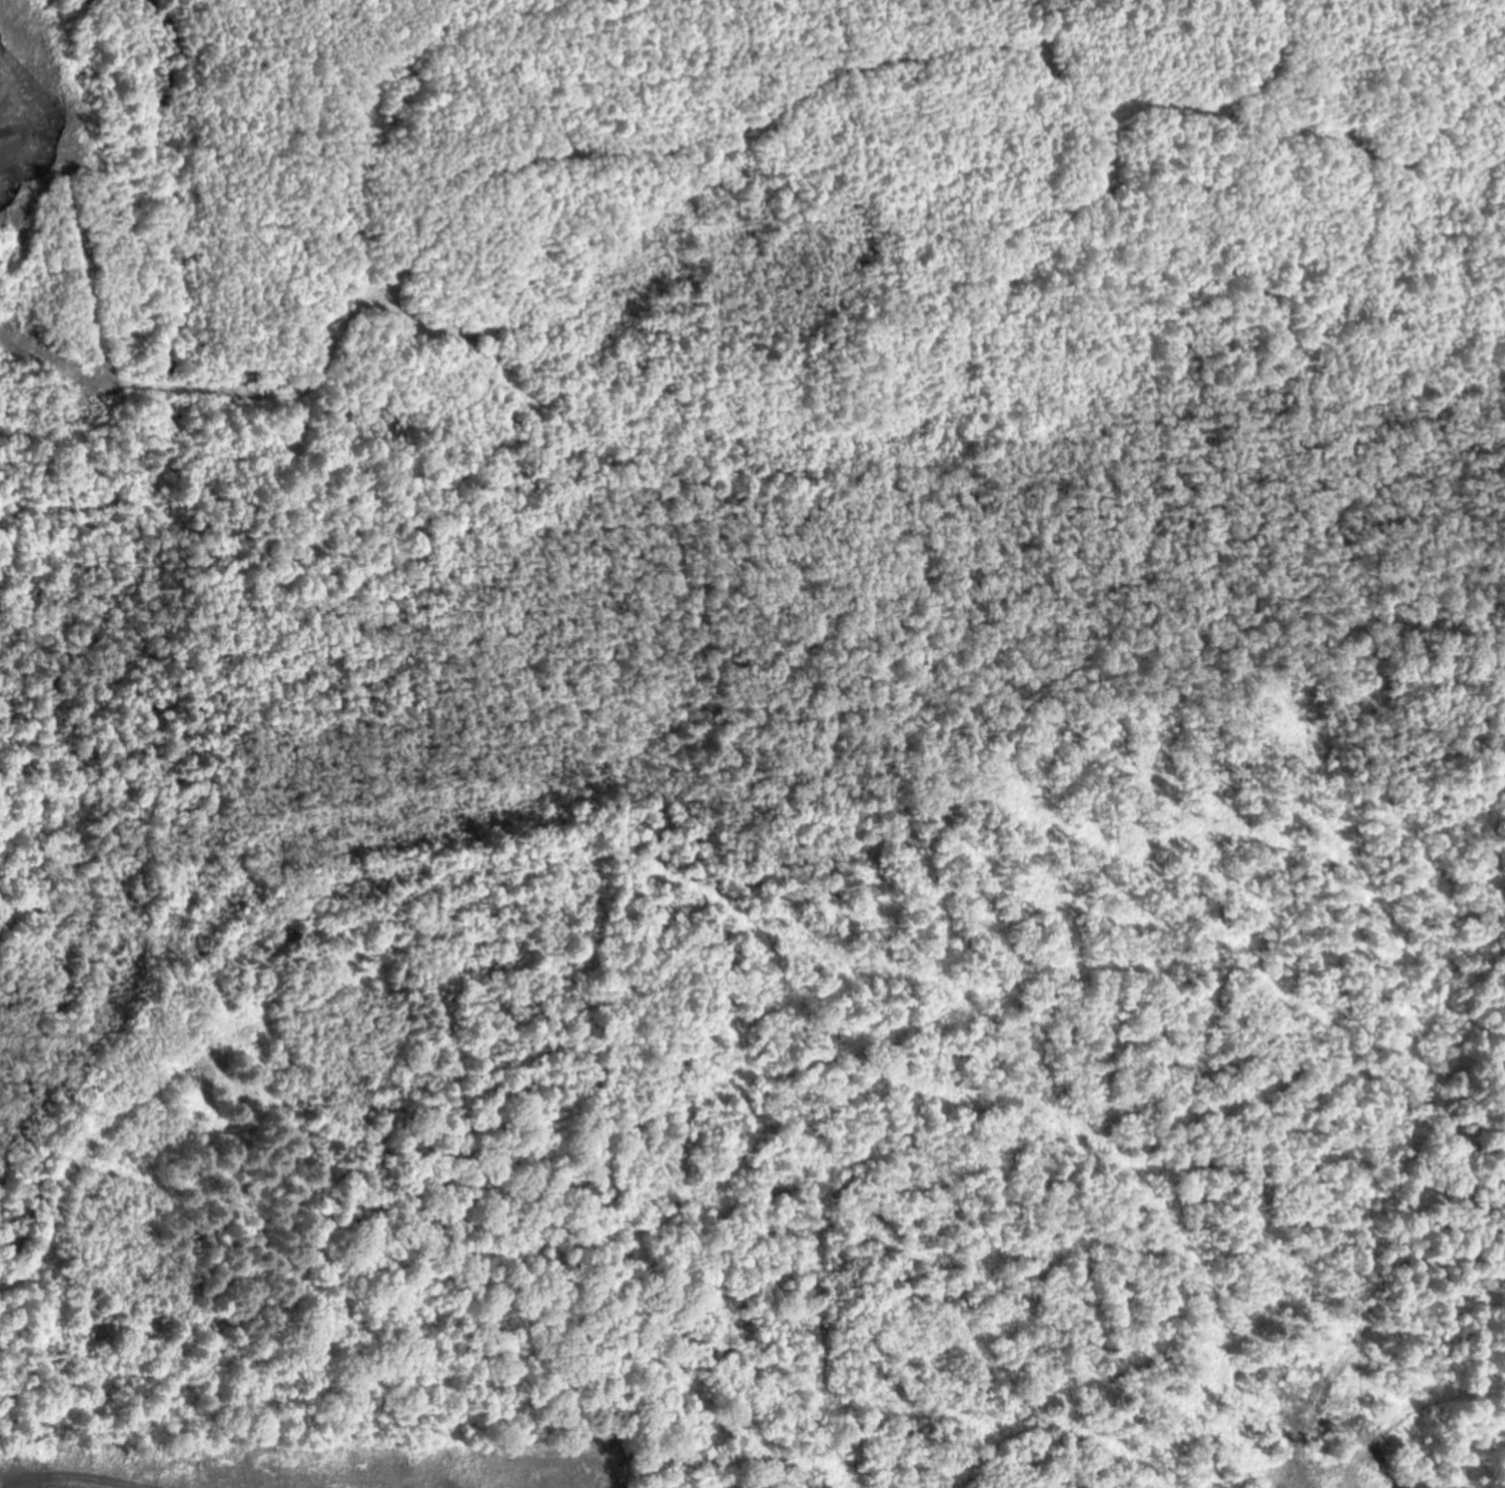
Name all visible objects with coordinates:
quarry: (318, 1460)

